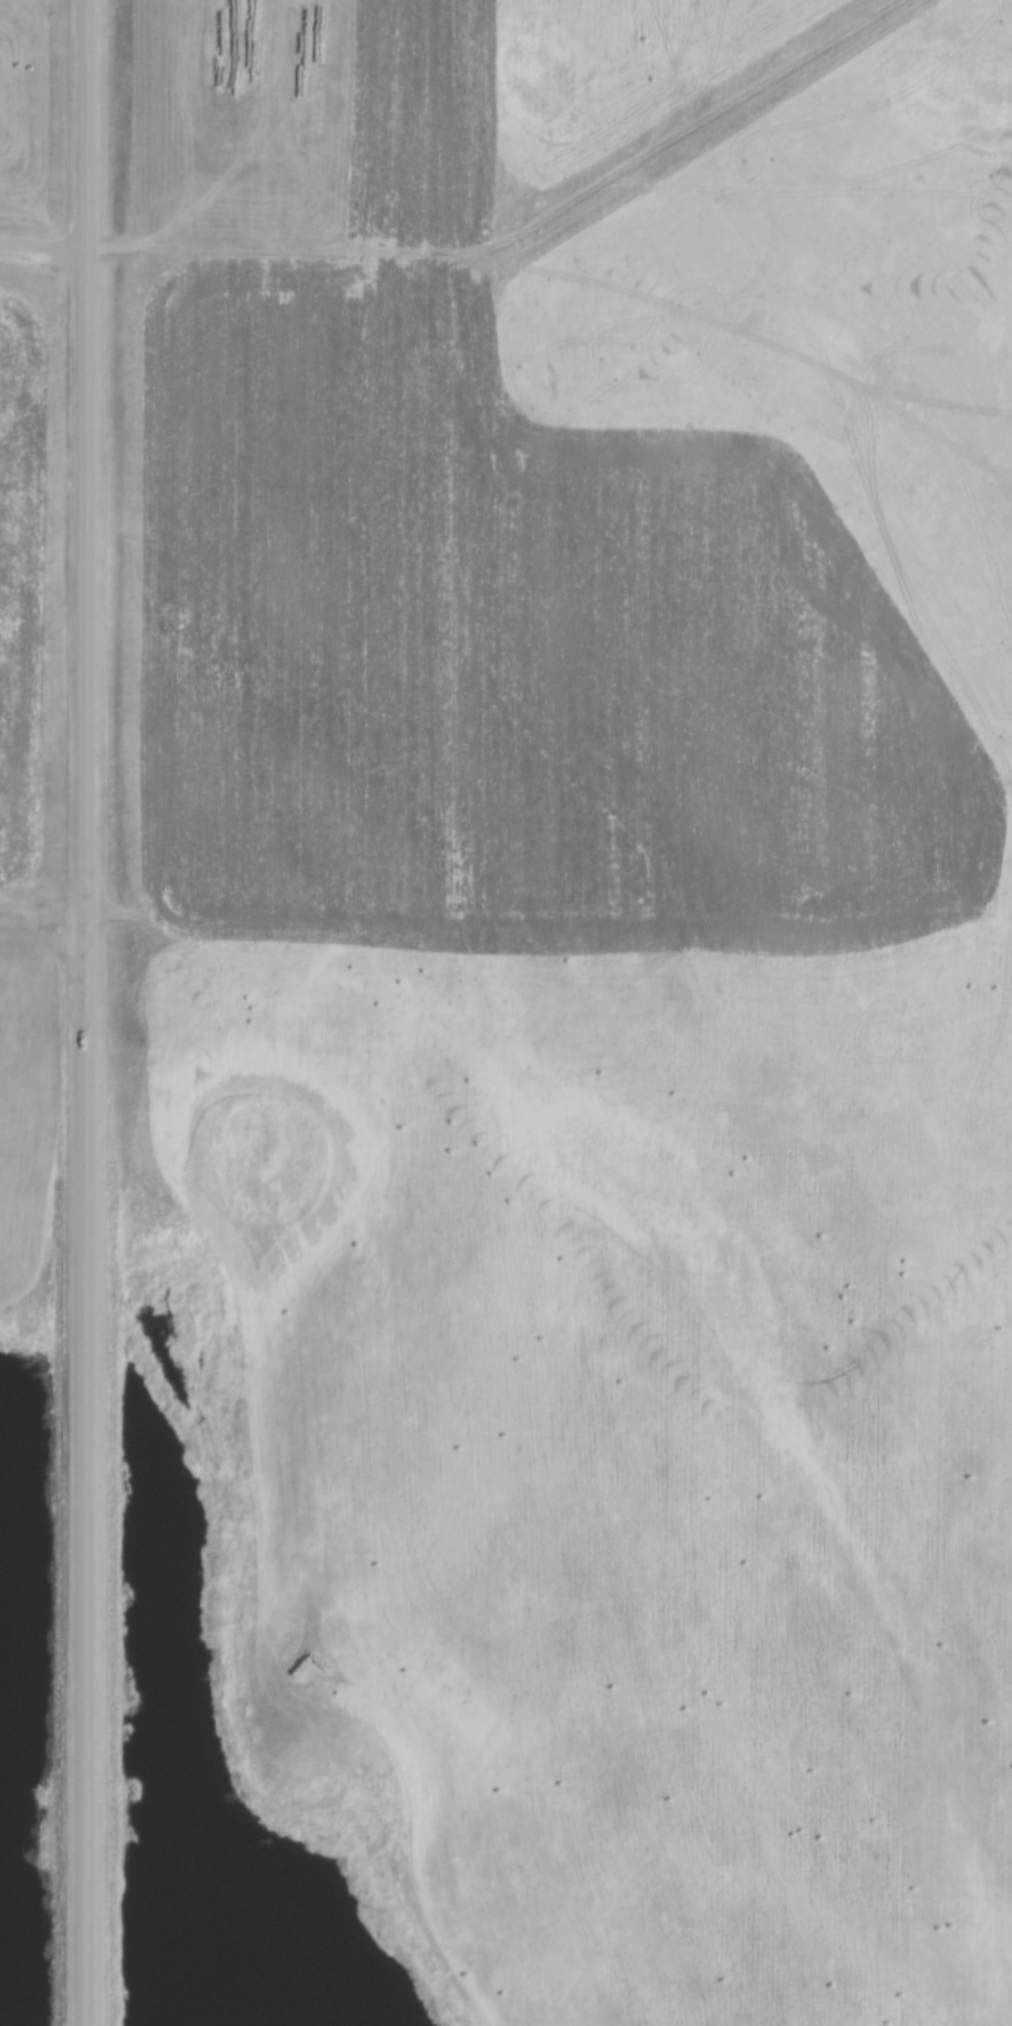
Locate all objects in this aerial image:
building: (232, 40)
building: (241, 180)
road: (44, 242)
road: (88, 1012)

